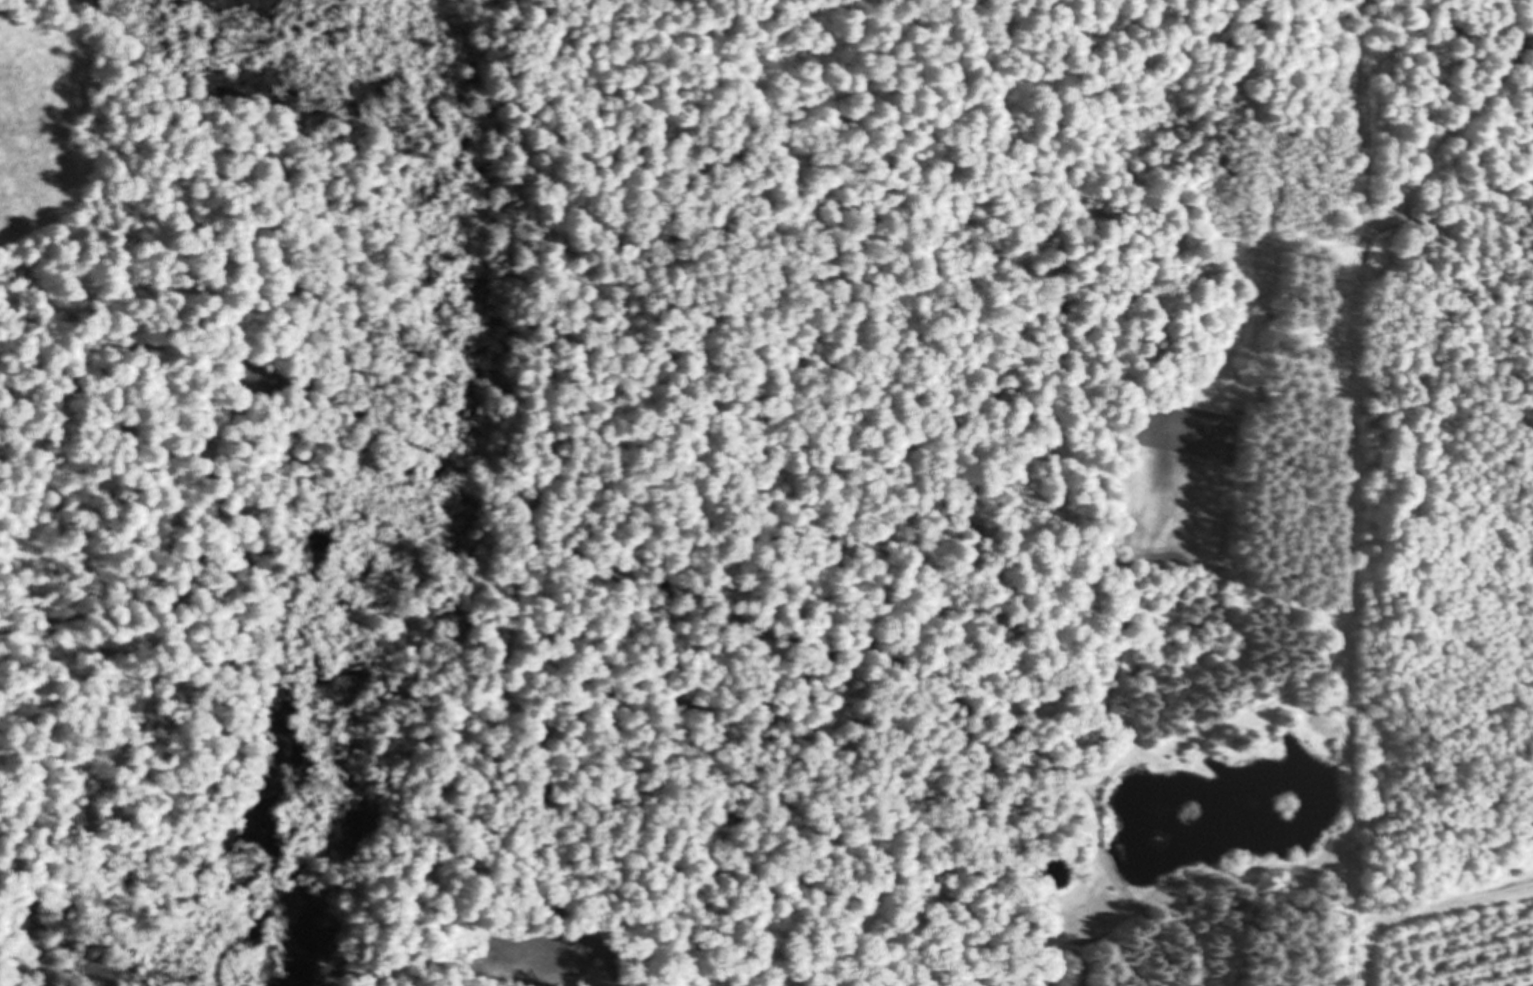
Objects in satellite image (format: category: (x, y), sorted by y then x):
road: (1352, 492)

